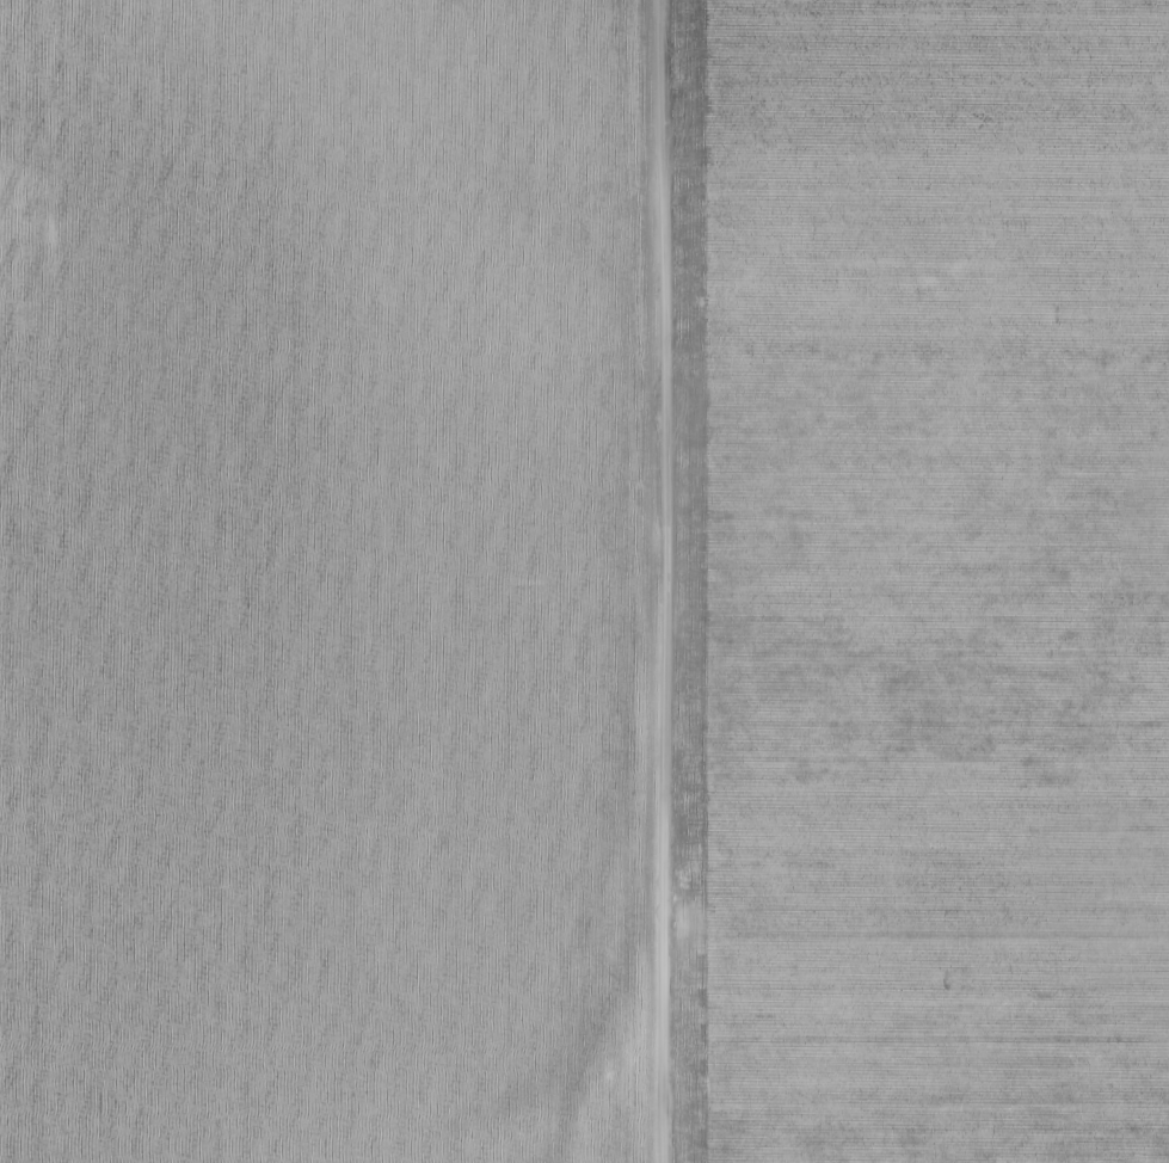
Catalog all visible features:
road: (673, 581)

